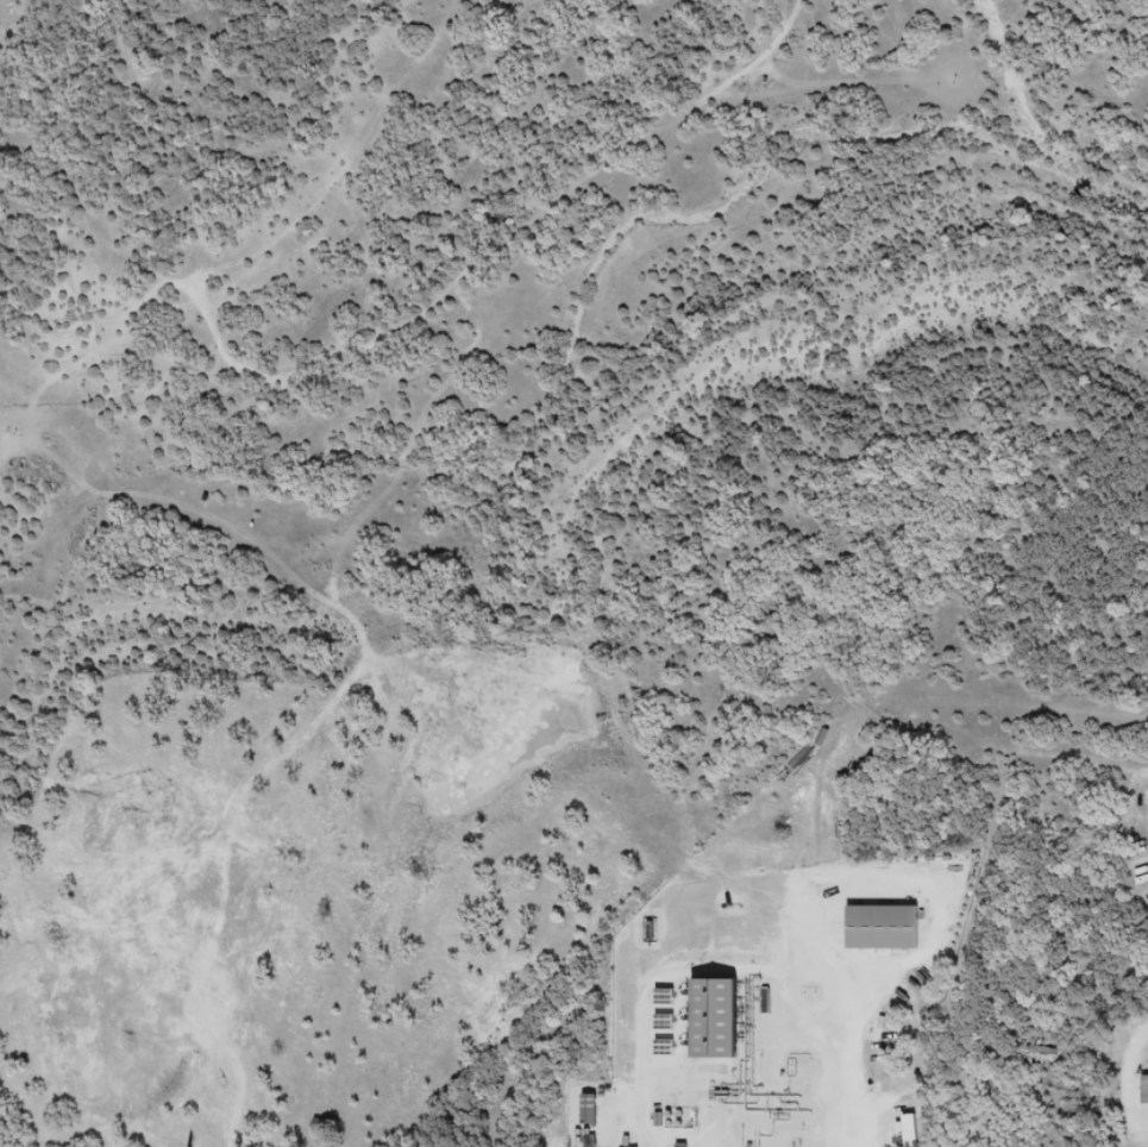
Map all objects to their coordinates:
road: (427, 299)
building: (880, 927)
building: (713, 1018)
building: (1036, 1052)
building: (1143, 1089)
building: (586, 1109)

